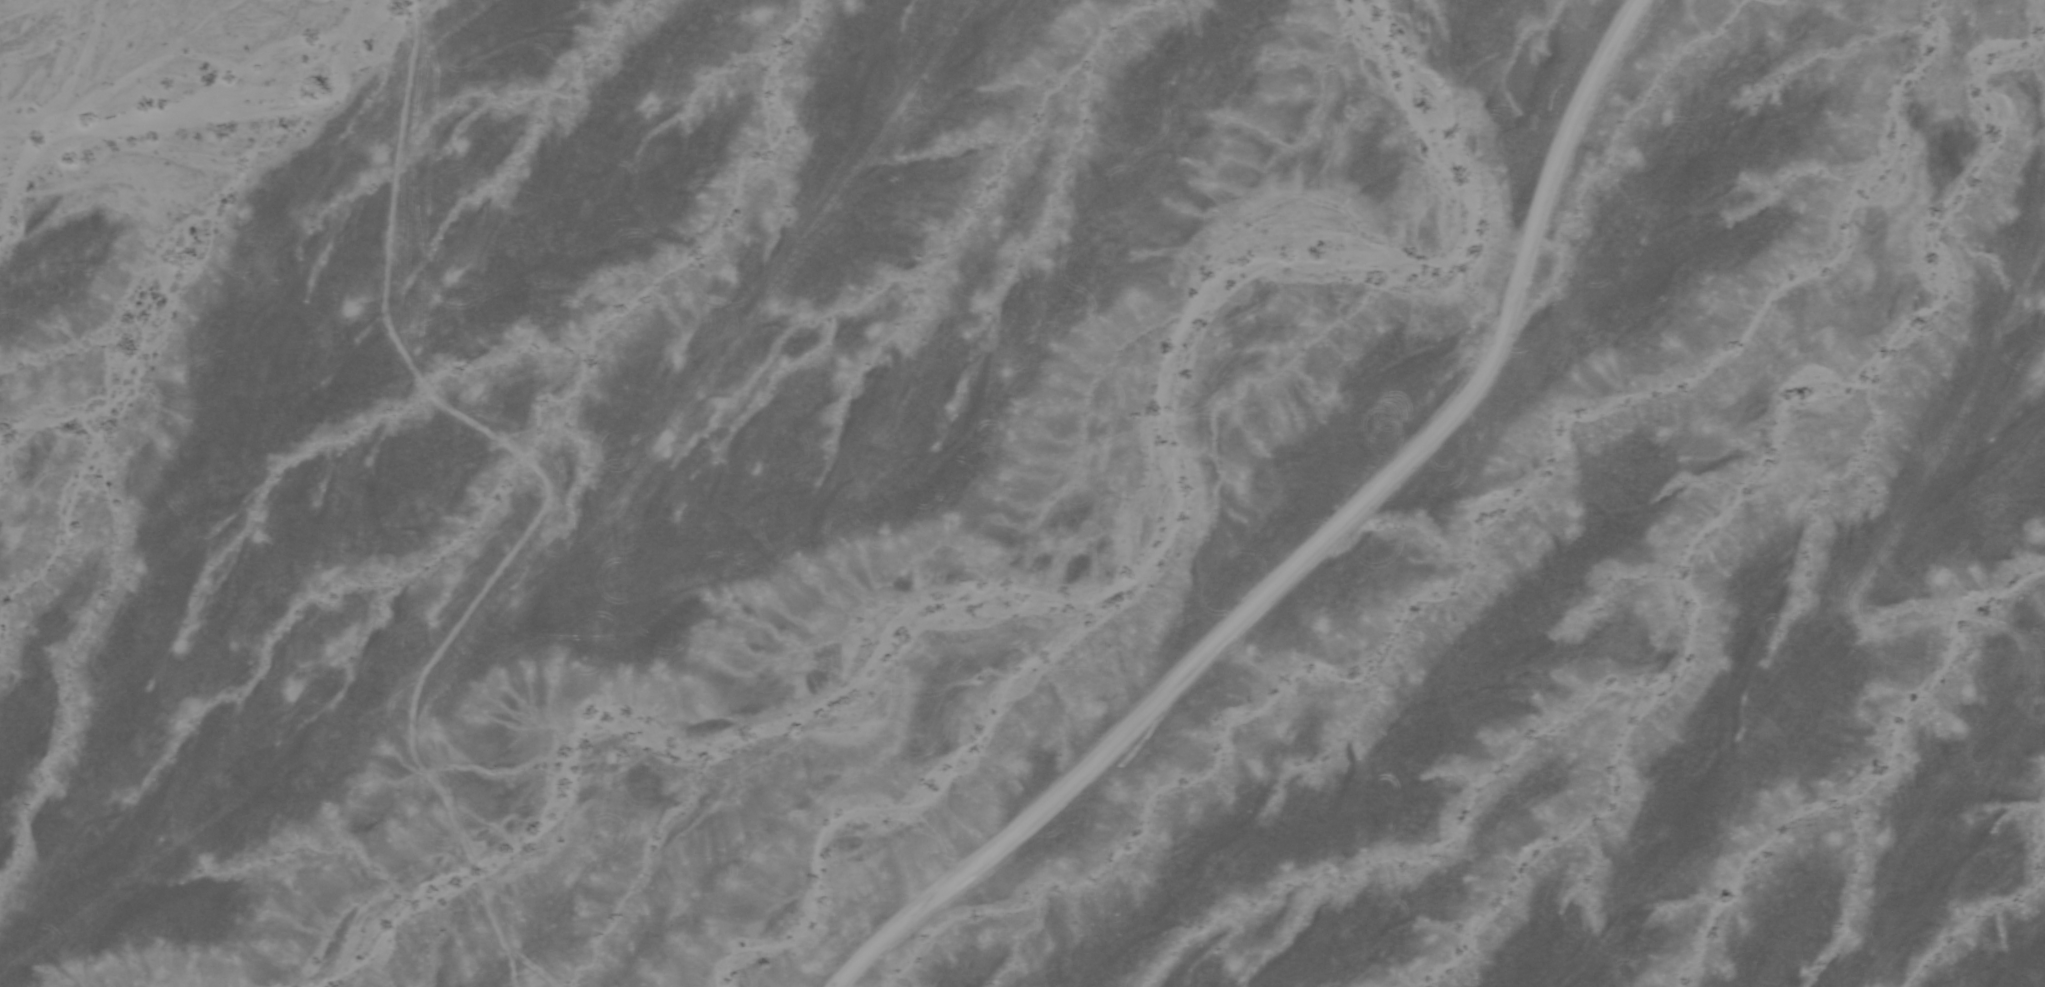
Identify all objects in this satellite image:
road: (1306, 546)

